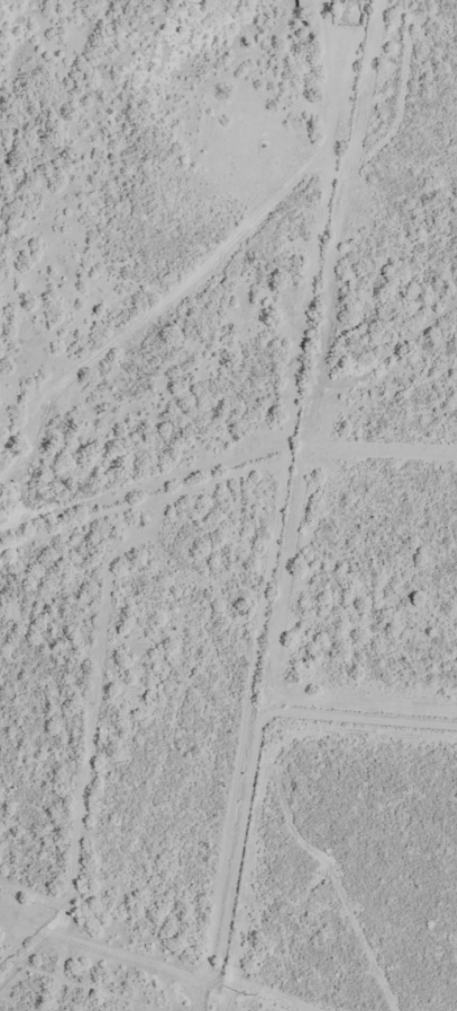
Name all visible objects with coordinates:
road: (267, 122)
road: (222, 316)
power tower: (246, 992)

